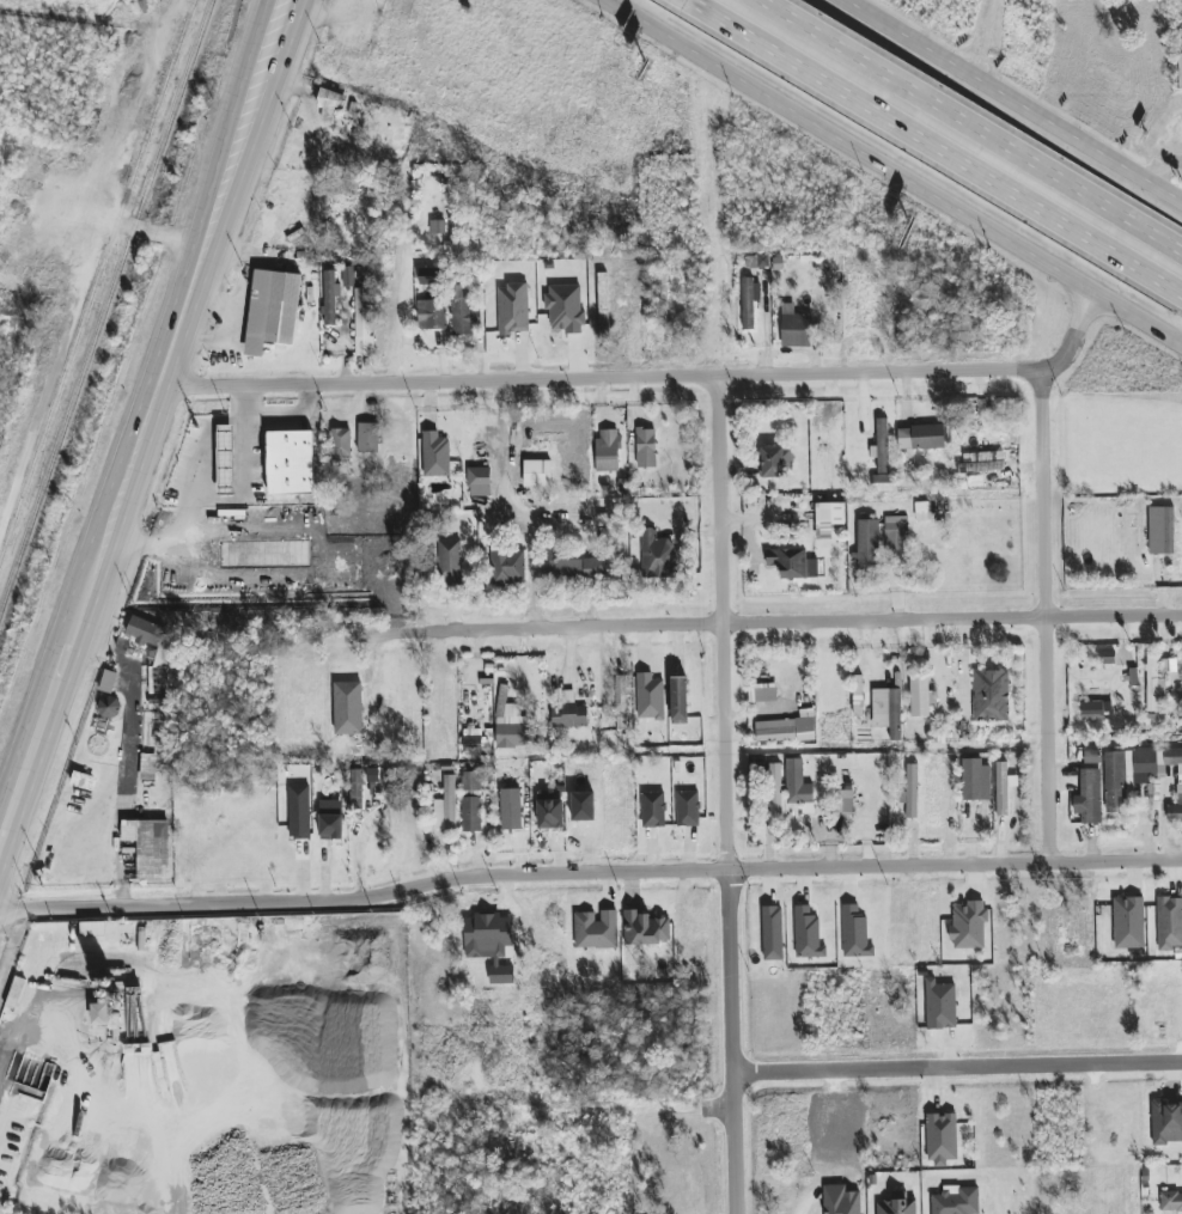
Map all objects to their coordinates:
road: (859, 59)
road: (815, 73)
road: (1013, 100)
building: (329, 105)
road: (848, 147)
road: (1067, 183)
road: (212, 193)
road: (256, 199)
road: (1060, 221)
building: (348, 277)
railway: (96, 281)
building: (662, 297)
building: (330, 298)
building: (603, 300)
building: (749, 301)
railway: (105, 305)
building: (513, 309)
building: (565, 309)
building: (272, 310)
building: (362, 313)
building: (463, 313)
building: (432, 315)
road: (1138, 317)
building: (794, 328)
road: (653, 380)
road: (293, 415)
road: (1042, 433)
building: (368, 438)
building: (921, 438)
building: (341, 443)
building: (882, 446)
building: (646, 449)
building: (608, 451)
building: (435, 455)
building: (226, 460)
building: (775, 460)
building: (982, 462)
building: (291, 464)
building: (537, 474)
building: (480, 482)
building: (884, 483)
road: (199, 484)
road: (511, 510)
building: (828, 519)
building: (1160, 531)
building: (896, 532)
building: (867, 545)
building: (657, 555)
building: (450, 562)
building: (792, 563)
building: (507, 566)
building: (572, 571)
road: (81, 614)
road: (719, 623)
road: (773, 623)
building: (1107, 658)
building: (159, 659)
road: (1043, 678)
building: (1153, 684)
building: (764, 693)
building: (858, 696)
building: (921, 696)
building: (991, 696)
building: (650, 697)
building: (678, 698)
building: (505, 706)
building: (109, 707)
building: (348, 708)
building: (1091, 710)
building: (888, 712)
building: (569, 715)
building: (787, 728)
building: (505, 742)
building: (473, 744)
building: (1092, 757)
building: (1174, 758)
building: (148, 767)
building: (1126, 774)
building: (976, 780)
building: (373, 781)
building: (470, 782)
building: (769, 785)
building: (798, 785)
building: (1003, 788)
building: (355, 791)
building: (912, 791)
building: (1089, 798)
building: (843, 803)
building: (446, 806)
building: (583, 806)
building: (688, 809)
building: (1176, 809)
building: (511, 810)
building: (653, 810)
building: (299, 812)
building: (550, 812)
building: (471, 813)
building: (330, 824)
building: (150, 847)
road: (590, 874)
building: (1128, 922)
building: (1169, 923)
building: (969, 926)
building: (645, 928)
building: (596, 931)
building: (772, 933)
building: (855, 933)
building: (808, 934)
building: (940, 1005)
building: (99, 1014)
road: (732, 1041)
road: (957, 1063)
building: (1166, 1122)
building: (942, 1139)
building: (956, 1202)
building: (1171, 1202)
building: (897, 1204)

